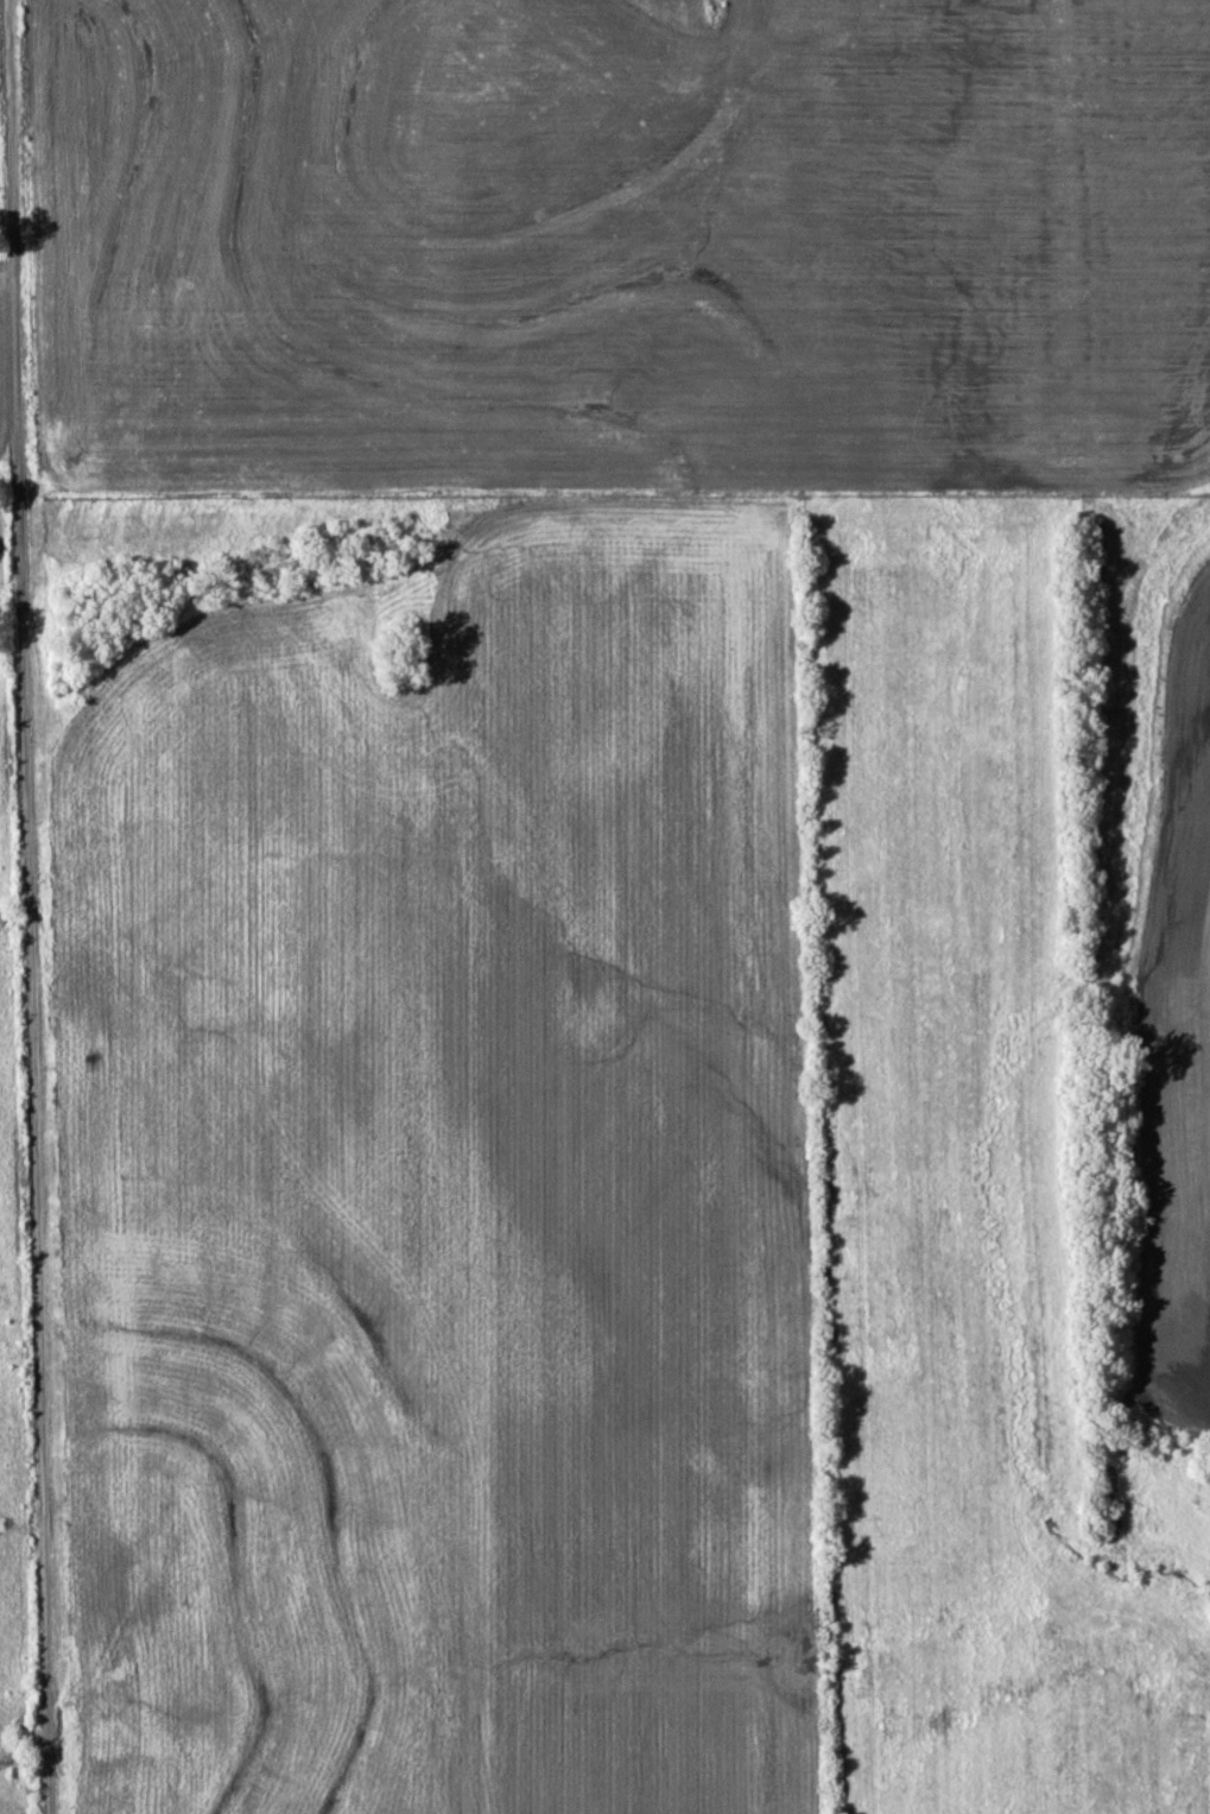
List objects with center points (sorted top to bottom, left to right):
road: (26, 906)

